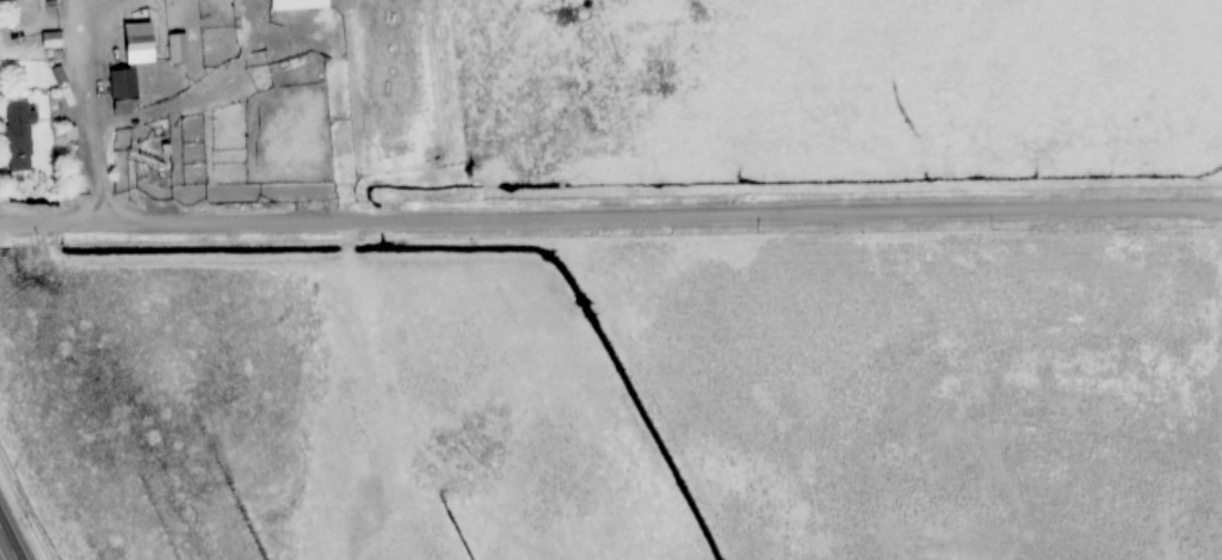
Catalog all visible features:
building: (298, 5)
building: (51, 39)
building: (140, 42)
building: (177, 47)
building: (124, 88)
road: (86, 110)
building: (19, 136)
road: (610, 214)
road: (6, 546)

